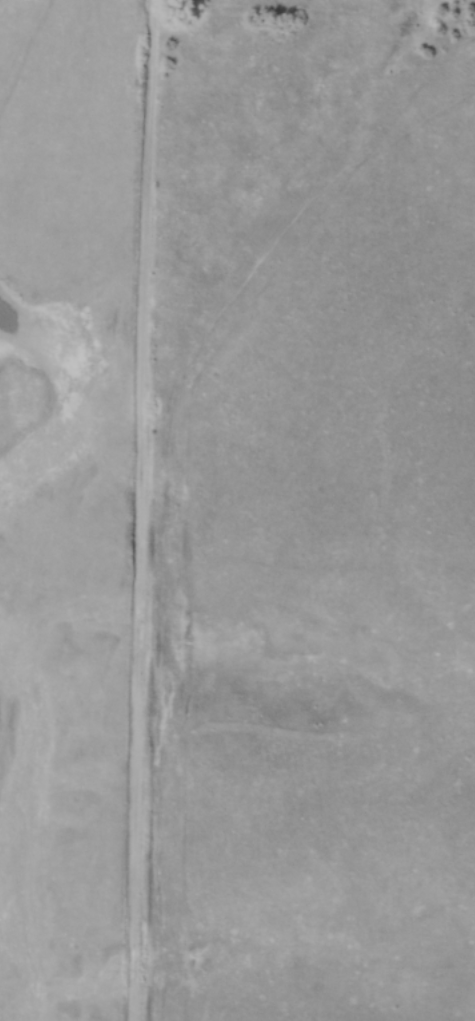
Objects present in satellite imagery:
road: (140, 510)

